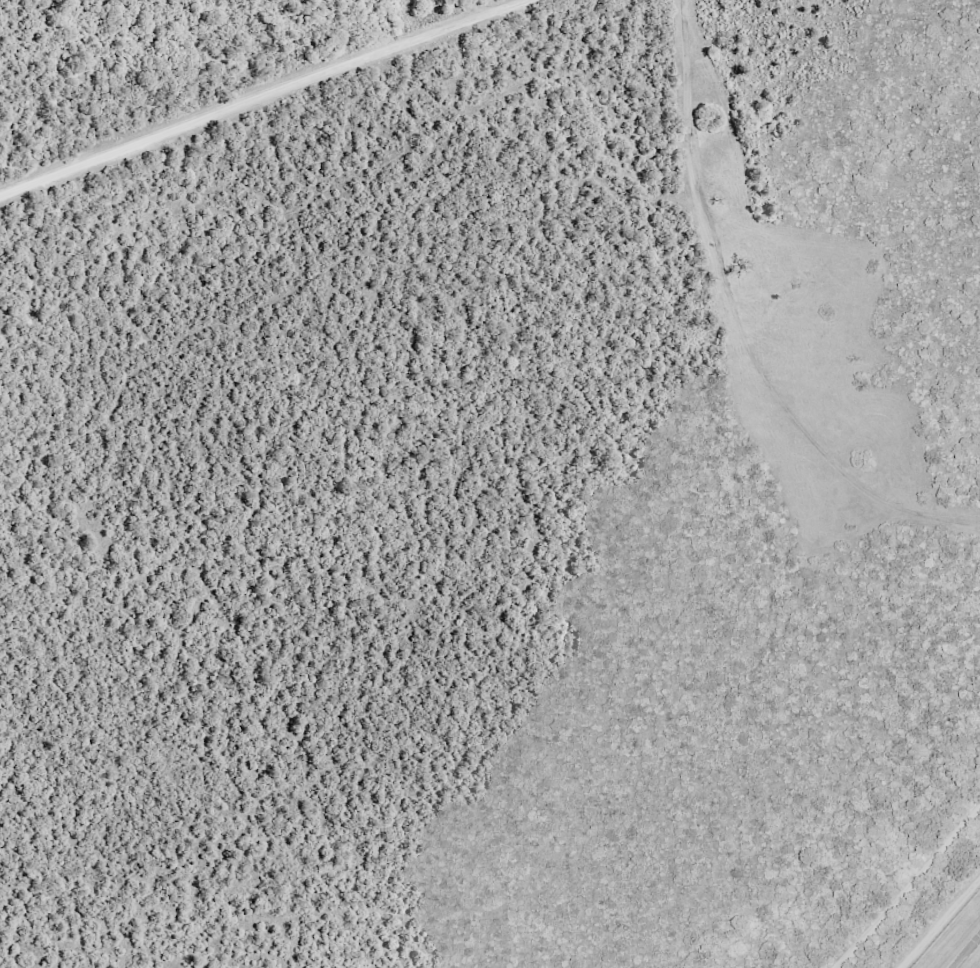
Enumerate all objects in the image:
road: (269, 100)
road: (979, 939)
road: (966, 954)

